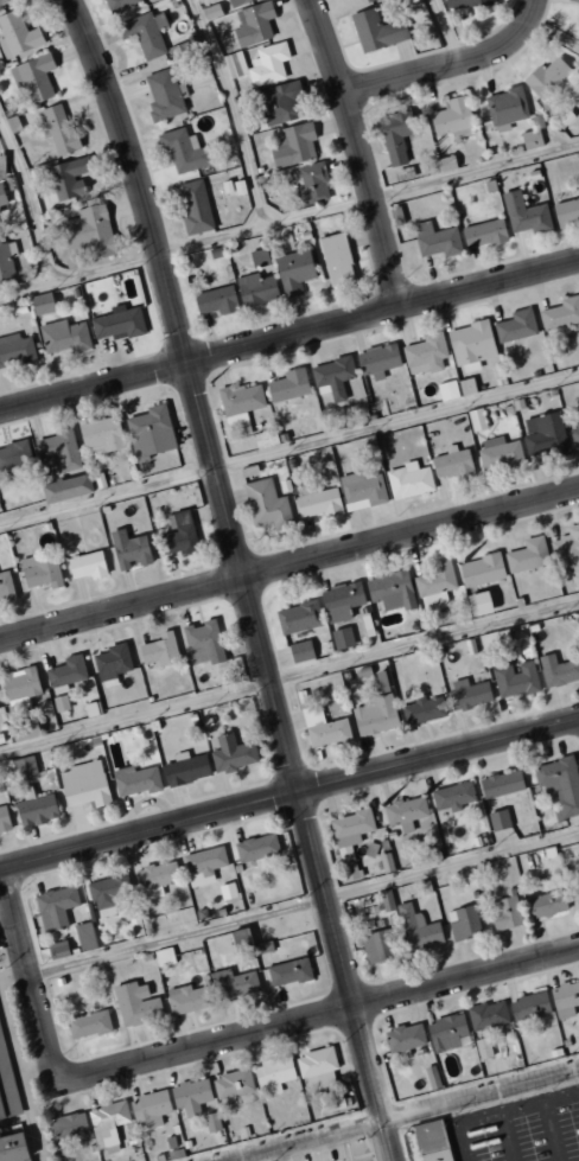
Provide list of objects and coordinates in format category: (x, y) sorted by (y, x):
building: (367, 0)
building: (573, 0)
building: (2, 1)
building: (238, 2)
building: (466, 2)
building: (211, 12)
building: (255, 21)
building: (578, 25)
building: (376, 30)
building: (144, 33)
building: (17, 34)
road: (446, 62)
building: (259, 64)
building: (34, 77)
building: (548, 77)
building: (163, 95)
building: (281, 103)
building: (505, 108)
road: (231, 113)
building: (452, 119)
building: (58, 129)
building: (394, 136)
building: (530, 139)
building: (293, 145)
building: (182, 151)
road: (356, 152)
building: (445, 164)
road: (475, 172)
building: (66, 178)
building: (313, 183)
building: (1, 197)
road: (32, 198)
building: (193, 206)
building: (566, 211)
building: (524, 213)
road: (266, 229)
building: (0, 231)
building: (88, 232)
building: (483, 234)
building: (434, 240)
building: (259, 256)
building: (336, 259)
building: (6, 262)
building: (294, 272)
road: (81, 276)
building: (255, 289)
building: (216, 300)
building: (42, 304)
building: (560, 313)
building: (117, 324)
building: (515, 326)
road: (289, 334)
building: (63, 337)
building: (470, 345)
building: (15, 350)
building: (424, 353)
building: (377, 361)
building: (332, 377)
building: (288, 385)
building: (466, 385)
building: (446, 390)
building: (238, 403)
building: (476, 419)
building: (149, 433)
building: (101, 434)
building: (545, 434)
building: (574, 435)
building: (265, 439)
building: (56, 452)
building: (498, 453)
building: (14, 455)
building: (453, 465)
building: (408, 480)
building: (65, 489)
building: (361, 491)
road: (108, 496)
building: (319, 503)
building: (267, 505)
building: (179, 535)
building: (567, 549)
building: (128, 550)
building: (527, 555)
building: (87, 564)
road: (289, 566)
building: (40, 570)
building: (481, 570)
road: (243, 576)
building: (435, 583)
building: (6, 587)
building: (390, 591)
building: (341, 600)
building: (478, 604)
building: (298, 618)
building: (342, 638)
building: (494, 639)
building: (203, 643)
building: (316, 648)
building: (159, 650)
building: (300, 651)
building: (112, 664)
building: (558, 670)
building: (65, 674)
building: (515, 678)
building: (381, 683)
building: (20, 687)
building: (469, 696)
building: (424, 709)
building: (375, 716)
road: (135, 717)
building: (323, 728)
building: (231, 753)
building: (25, 766)
building: (186, 768)
building: (135, 780)
building: (84, 784)
building: (501, 784)
building: (559, 786)
road: (289, 795)
building: (452, 796)
building: (36, 810)
building: (405, 812)
building: (4, 818)
building: (498, 819)
building: (350, 840)
building: (256, 848)
building: (203, 861)
building: (157, 875)
building: (578, 887)
building: (227, 891)
building: (108, 893)
building: (546, 904)
building: (55, 906)
building: (504, 913)
building: (463, 923)
building: (418, 930)
building: (84, 937)
road: (179, 937)
building: (238, 939)
building: (377, 945)
building: (163, 957)
building: (288, 971)
building: (233, 983)
road: (34, 984)
building: (186, 999)
building: (565, 999)
building: (135, 1004)
building: (529, 1008)
road: (335, 1010)
building: (486, 1015)
building: (88, 1025)
building: (445, 1031)
building: (403, 1036)
building: (482, 1047)
building: (316, 1067)
building: (273, 1073)
building: (432, 1077)
building: (233, 1084)
building: (7, 1085)
road: (479, 1095)
building: (190, 1096)
building: (149, 1110)
road: (501, 1115)
building: (211, 1122)
building: (108, 1124)
building: (68, 1133)
road: (303, 1141)
building: (431, 1141)
building: (13, 1148)

